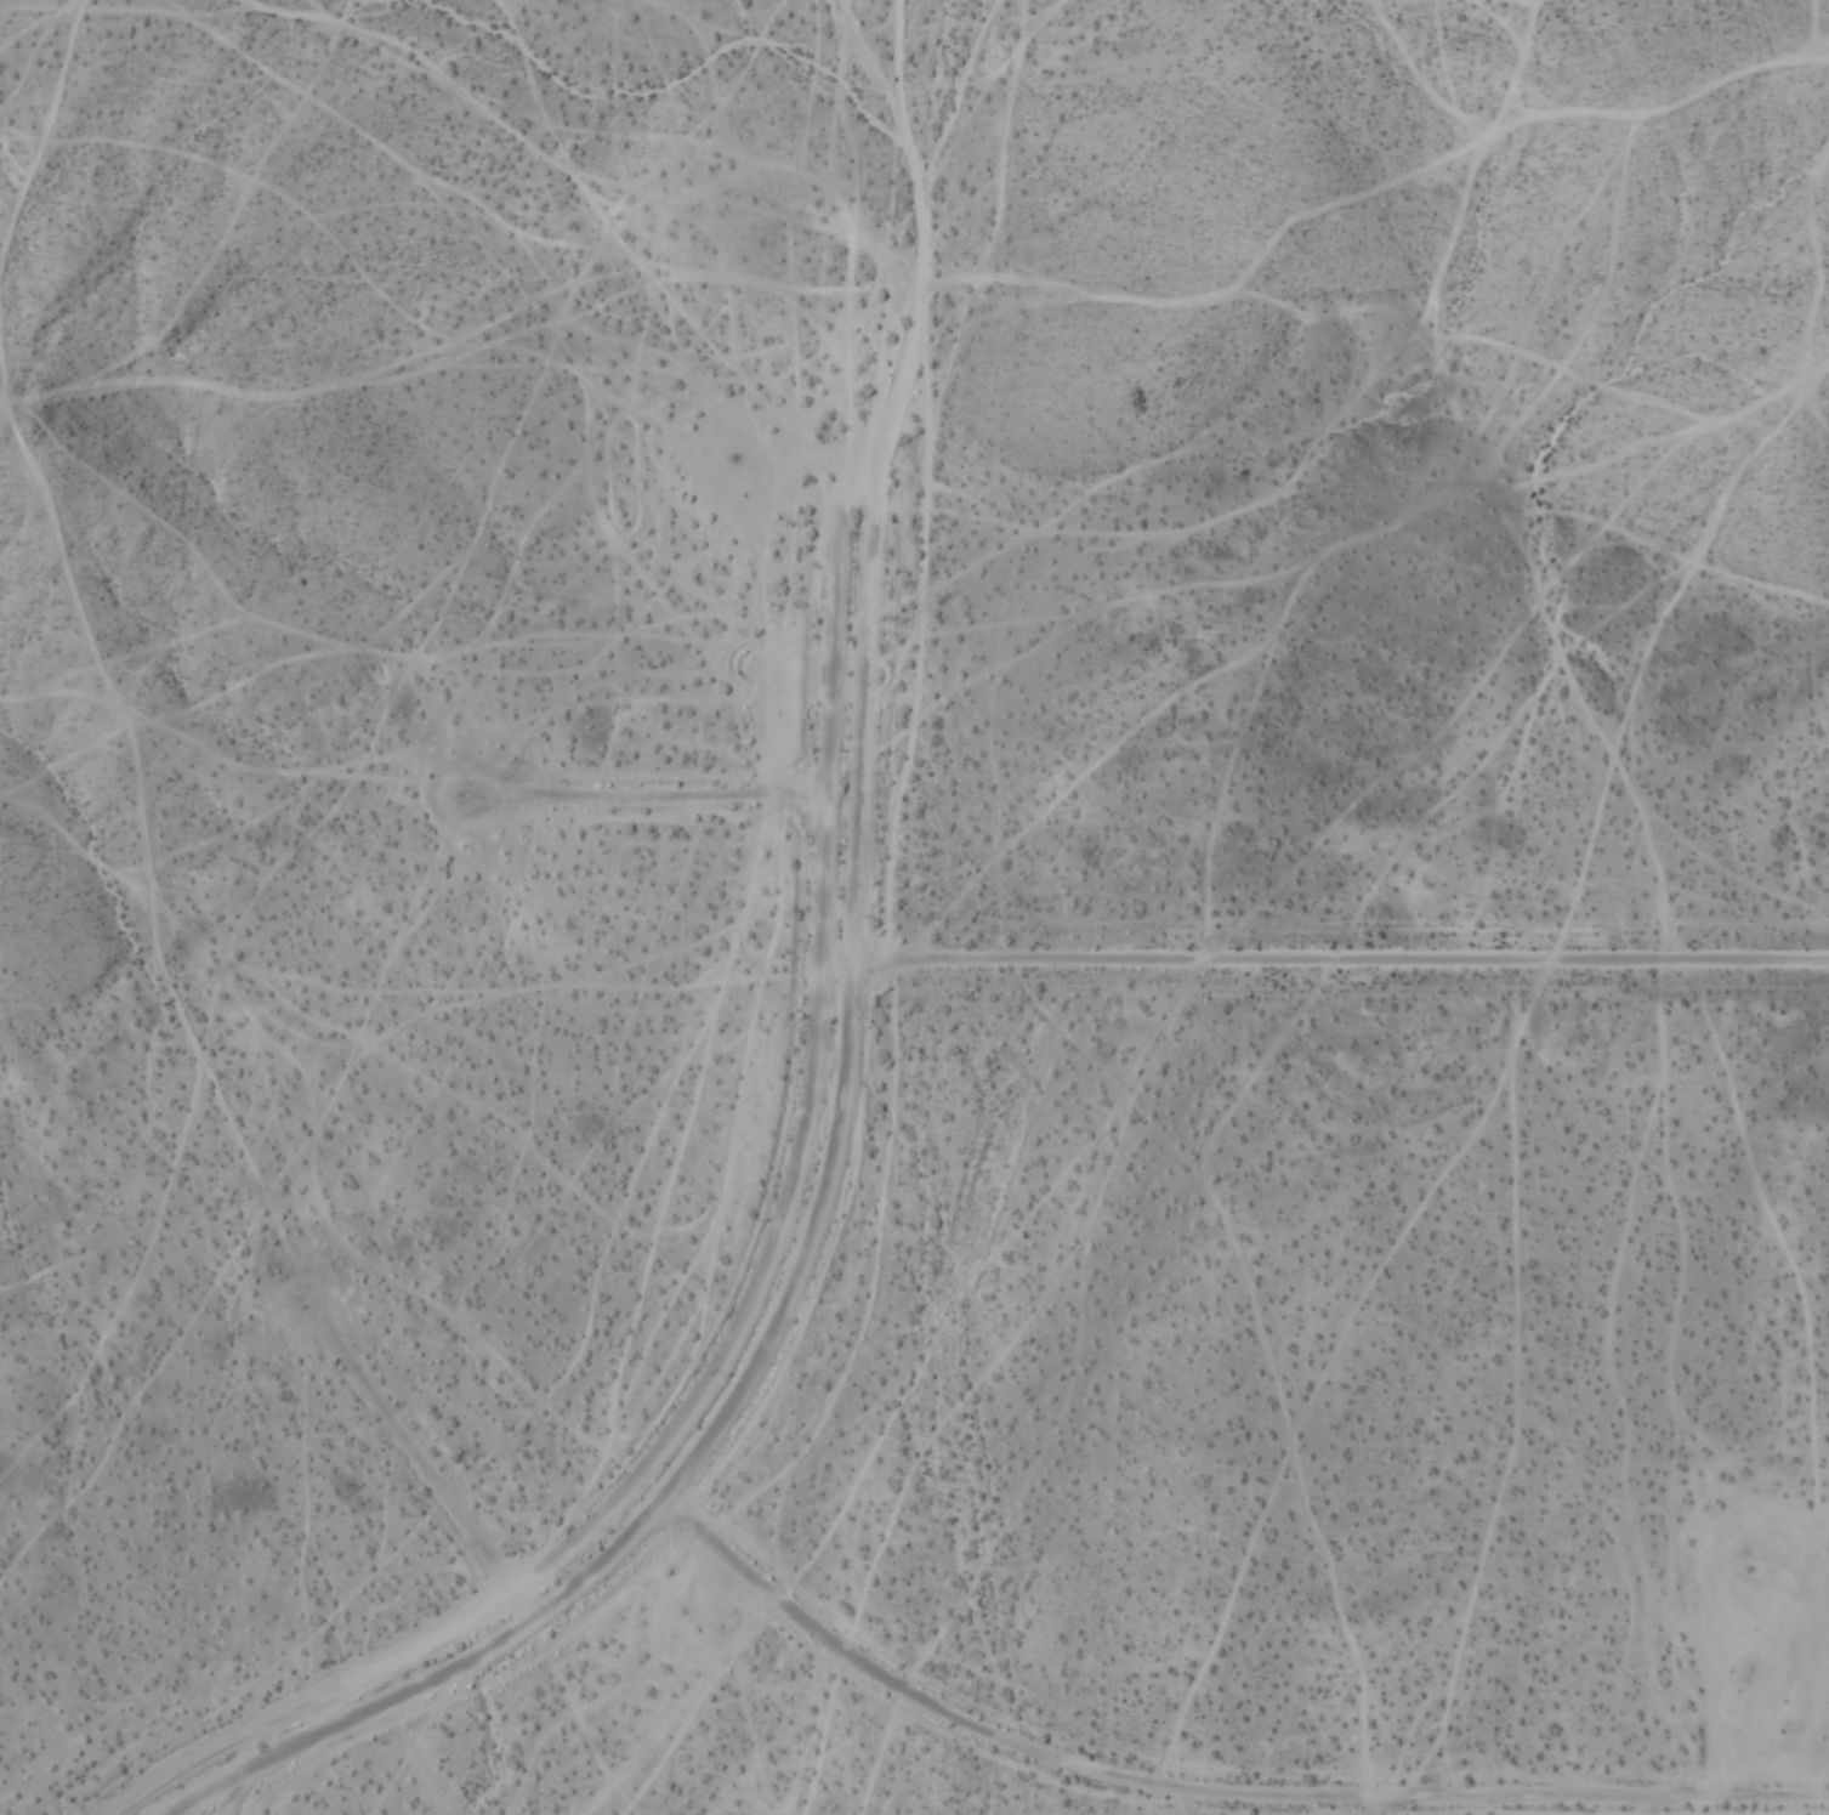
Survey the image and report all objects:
road: (746, 799)
road: (1342, 962)
crop: (1182, 1410)
road: (464, 1526)
road: (1202, 1794)
road: (1379, 1808)

